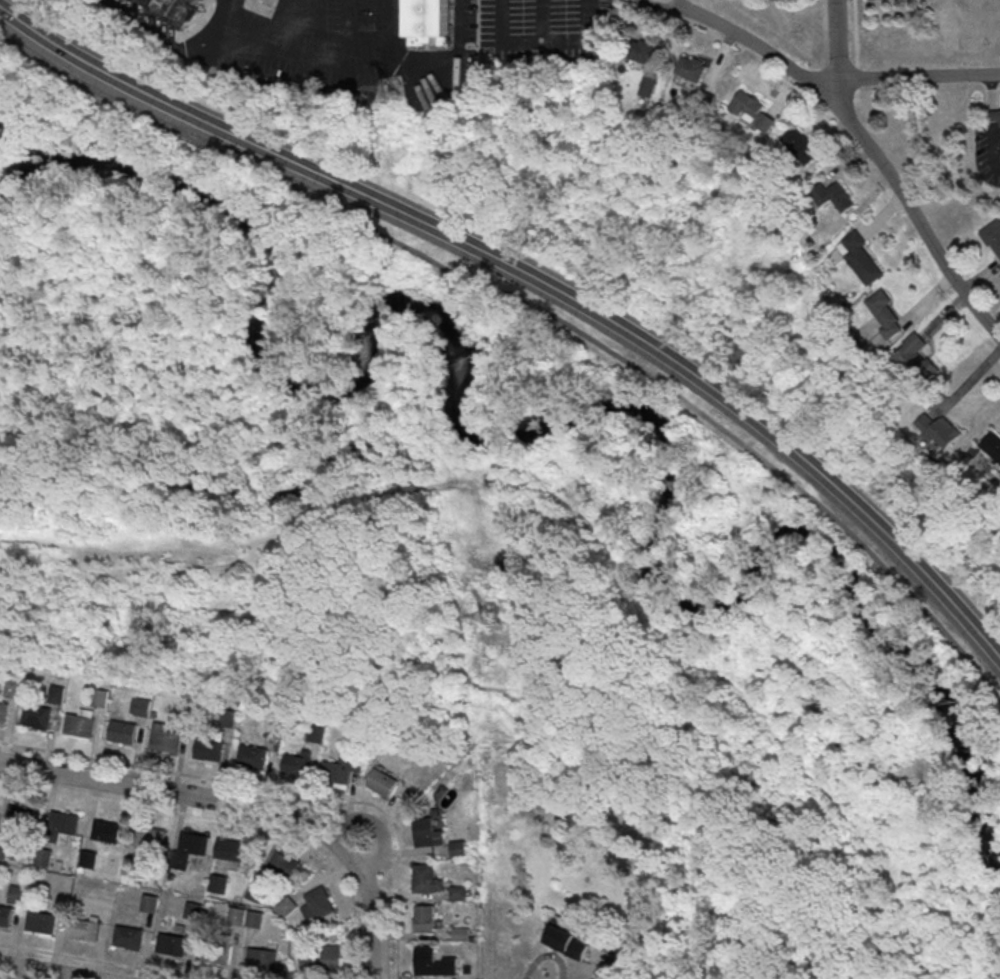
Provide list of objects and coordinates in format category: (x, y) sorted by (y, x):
building: (173, 10)
building: (430, 19)
road: (542, 19)
road: (397, 21)
road: (227, 23)
road: (315, 28)
road: (351, 30)
road: (159, 37)
road: (542, 38)
road: (838, 47)
building: (639, 51)
road: (447, 53)
road: (304, 54)
road: (388, 54)
building: (691, 69)
road: (913, 75)
building: (646, 86)
power tower: (391, 87)
building: (752, 110)
building: (993, 117)
road: (863, 139)
building: (800, 145)
building: (832, 196)
road: (883, 217)
building: (993, 236)
building: (862, 259)
road: (535, 277)
road: (925, 300)
road: (539, 306)
building: (885, 315)
road: (944, 317)
building: (917, 361)
river: (542, 428)
building: (940, 430)
building: (992, 445)
park: (499, 478)
road: (578, 511)
road: (372, 547)
road: (532, 596)
power tower: (492, 616)
road: (549, 642)
building: (55, 694)
building: (142, 706)
building: (3, 713)
building: (35, 718)
building: (228, 718)
building: (78, 727)
building: (123, 733)
building: (165, 742)
building: (210, 750)
building: (253, 758)
building: (297, 767)
road: (676, 774)
building: (337, 775)
building: (382, 782)
road: (242, 806)
road: (710, 812)
building: (20, 818)
building: (63, 824)
building: (106, 832)
building: (428, 832)
building: (150, 839)
building: (193, 845)
building: (2, 848)
building: (233, 851)
building: (42, 857)
building: (286, 862)
building: (425, 880)
building: (217, 883)
building: (254, 892)
building: (16, 894)
building: (640, 902)
building: (150, 903)
building: (317, 904)
building: (286, 906)
building: (193, 909)
building: (237, 915)
building: (6, 917)
building: (254, 919)
building: (425, 920)
building: (42, 925)
building: (85, 932)
building: (129, 939)
road: (828, 939)
building: (567, 942)
building: (172, 946)
building: (216, 954)
building: (262, 958)
building: (324, 960)
building: (426, 962)
road: (41, 972)

